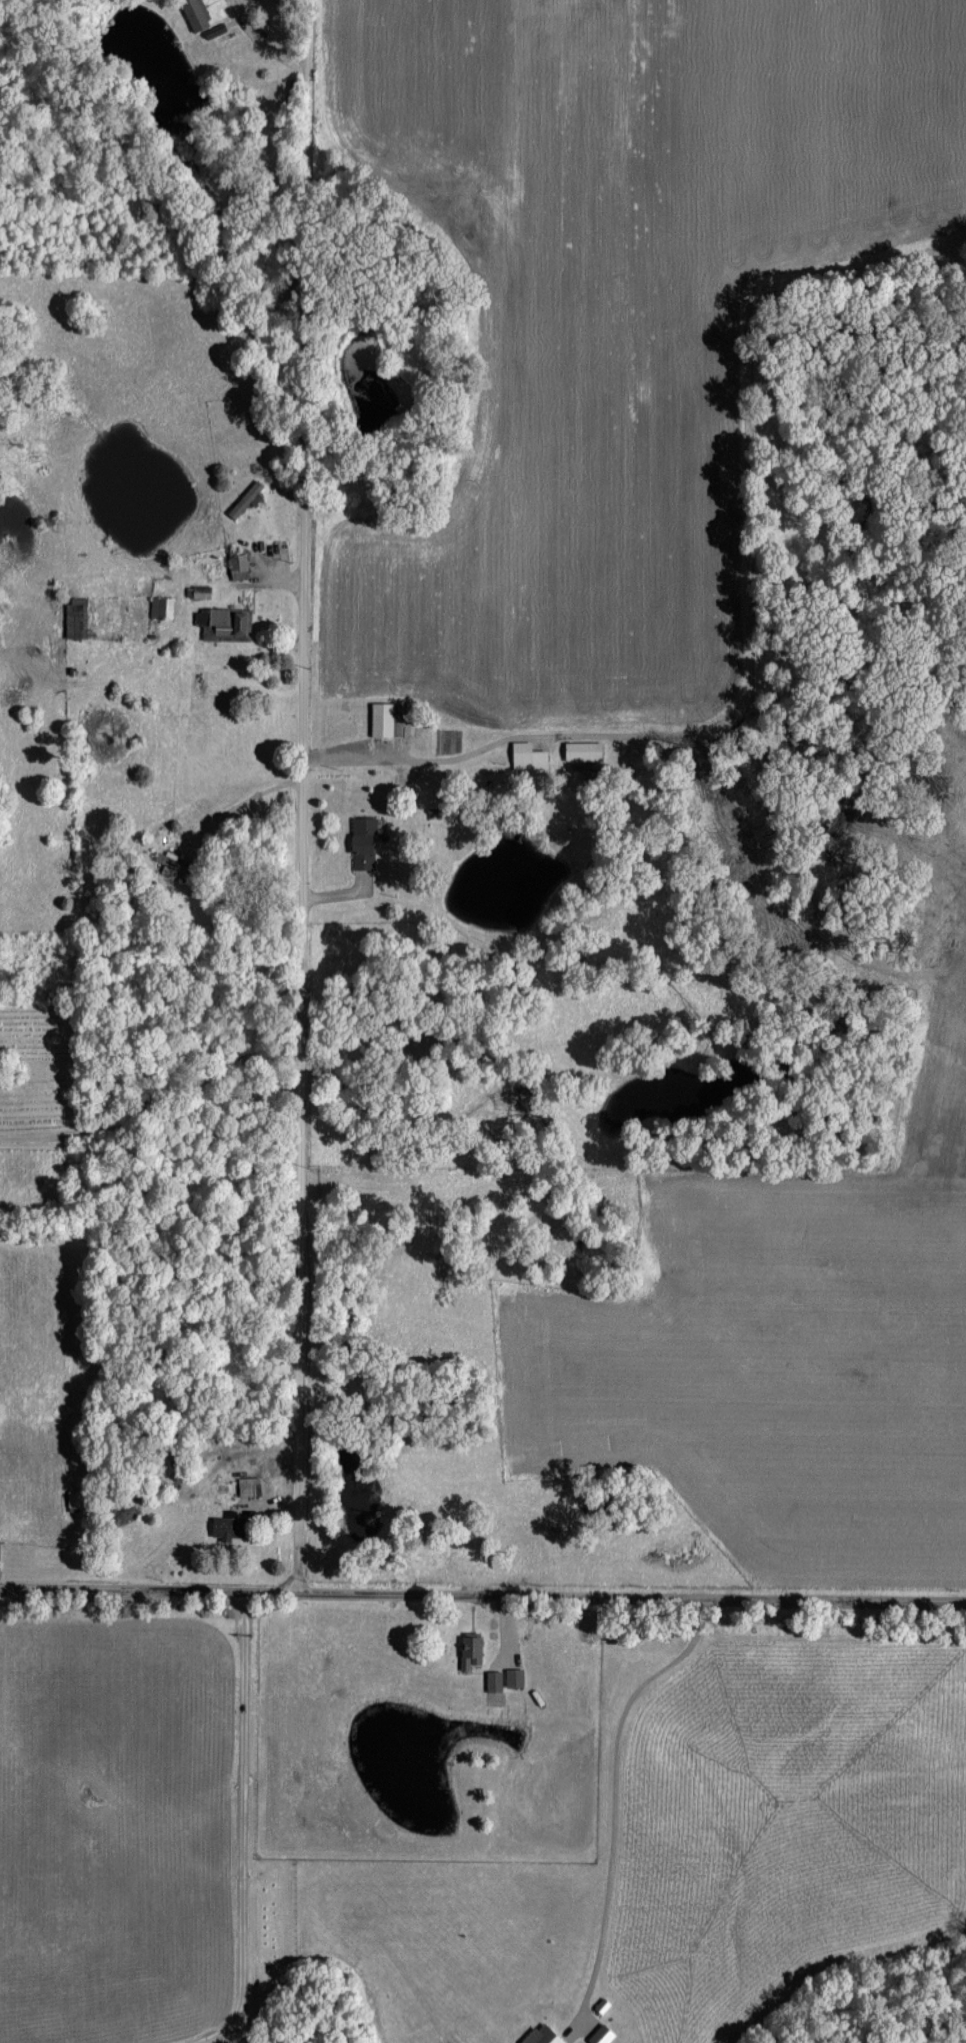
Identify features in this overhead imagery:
building: (195, 13)
road: (264, 43)
building: (238, 565)
building: (161, 606)
building: (76, 616)
building: (224, 622)
building: (384, 720)
road: (491, 742)
building: (582, 753)
building: (528, 756)
road: (306, 796)
building: (363, 842)
road: (157, 1094)
building: (229, 1526)
road: (148, 1588)
road: (631, 1596)
building: (470, 1650)
building: (514, 1676)
building: (493, 1680)
road: (615, 1774)
road: (243, 1833)
building: (601, 2034)
building: (543, 2035)
road: (223, 2036)

